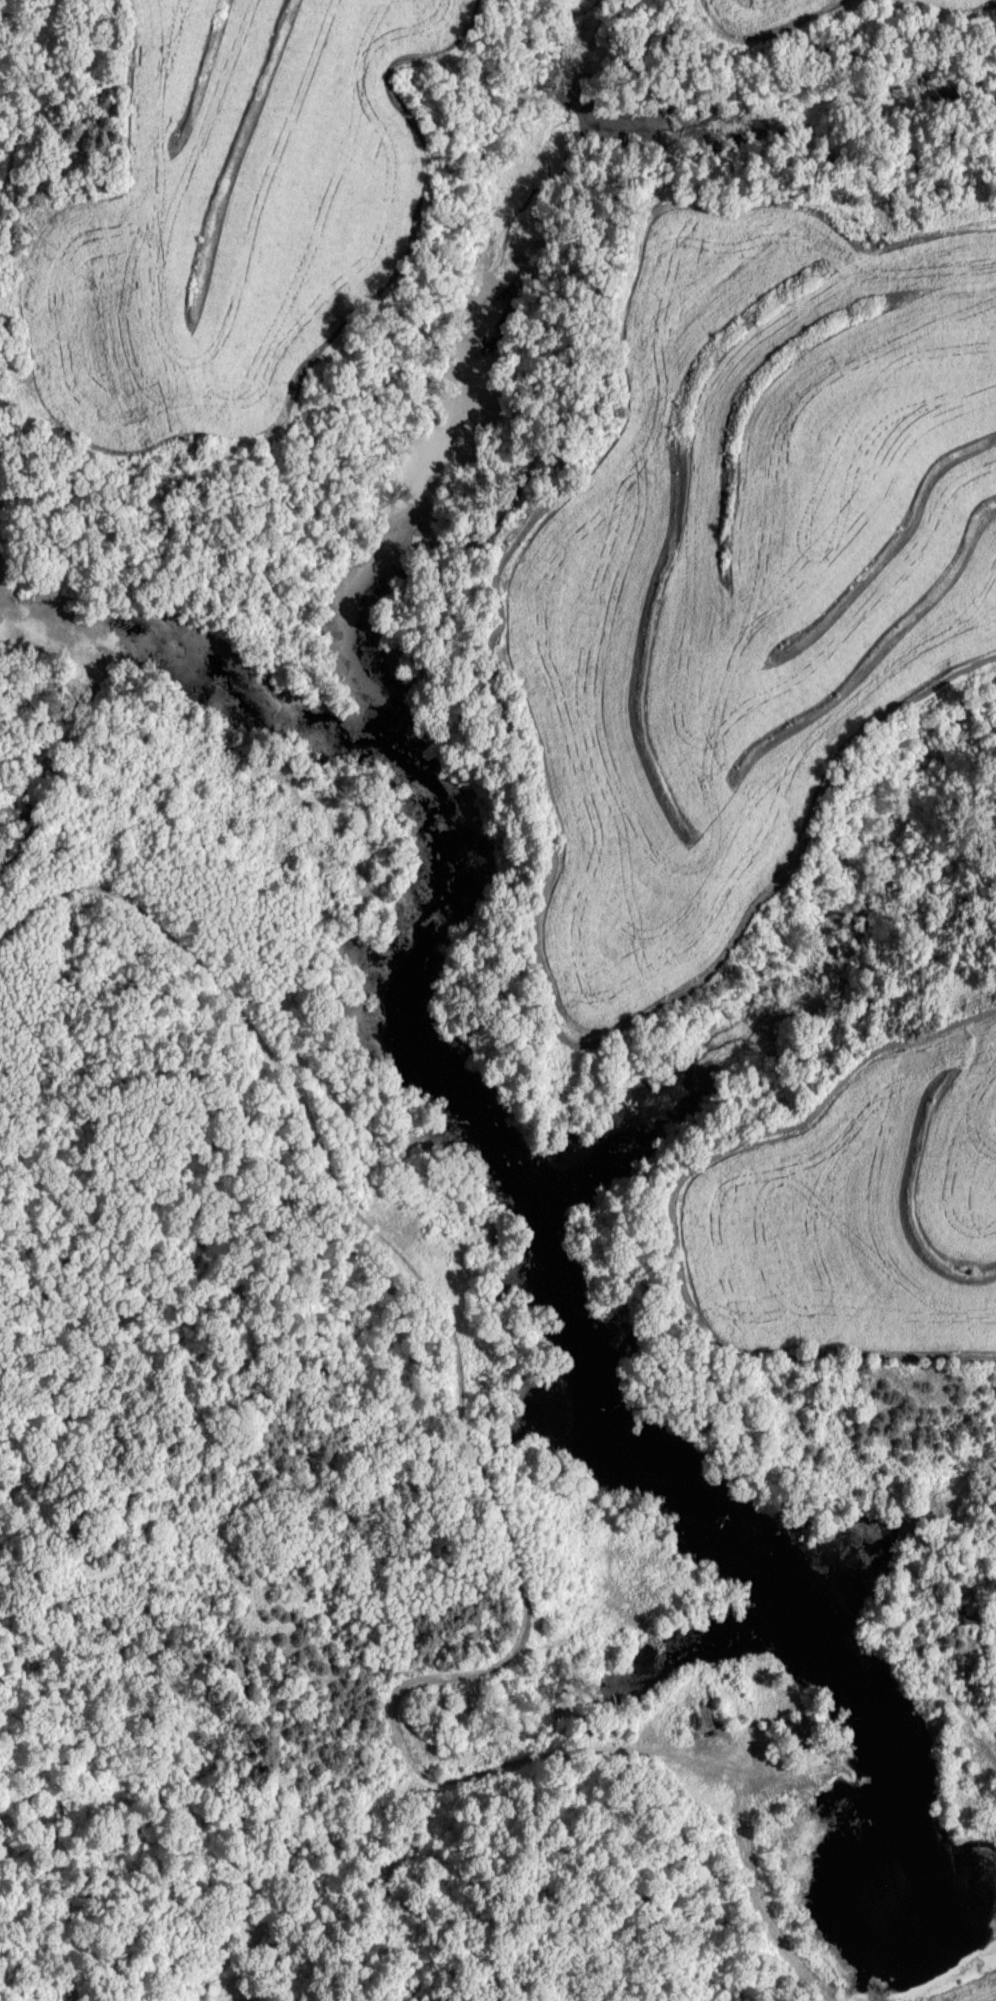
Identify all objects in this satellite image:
building: (960, 1611)
building: (798, 1717)

